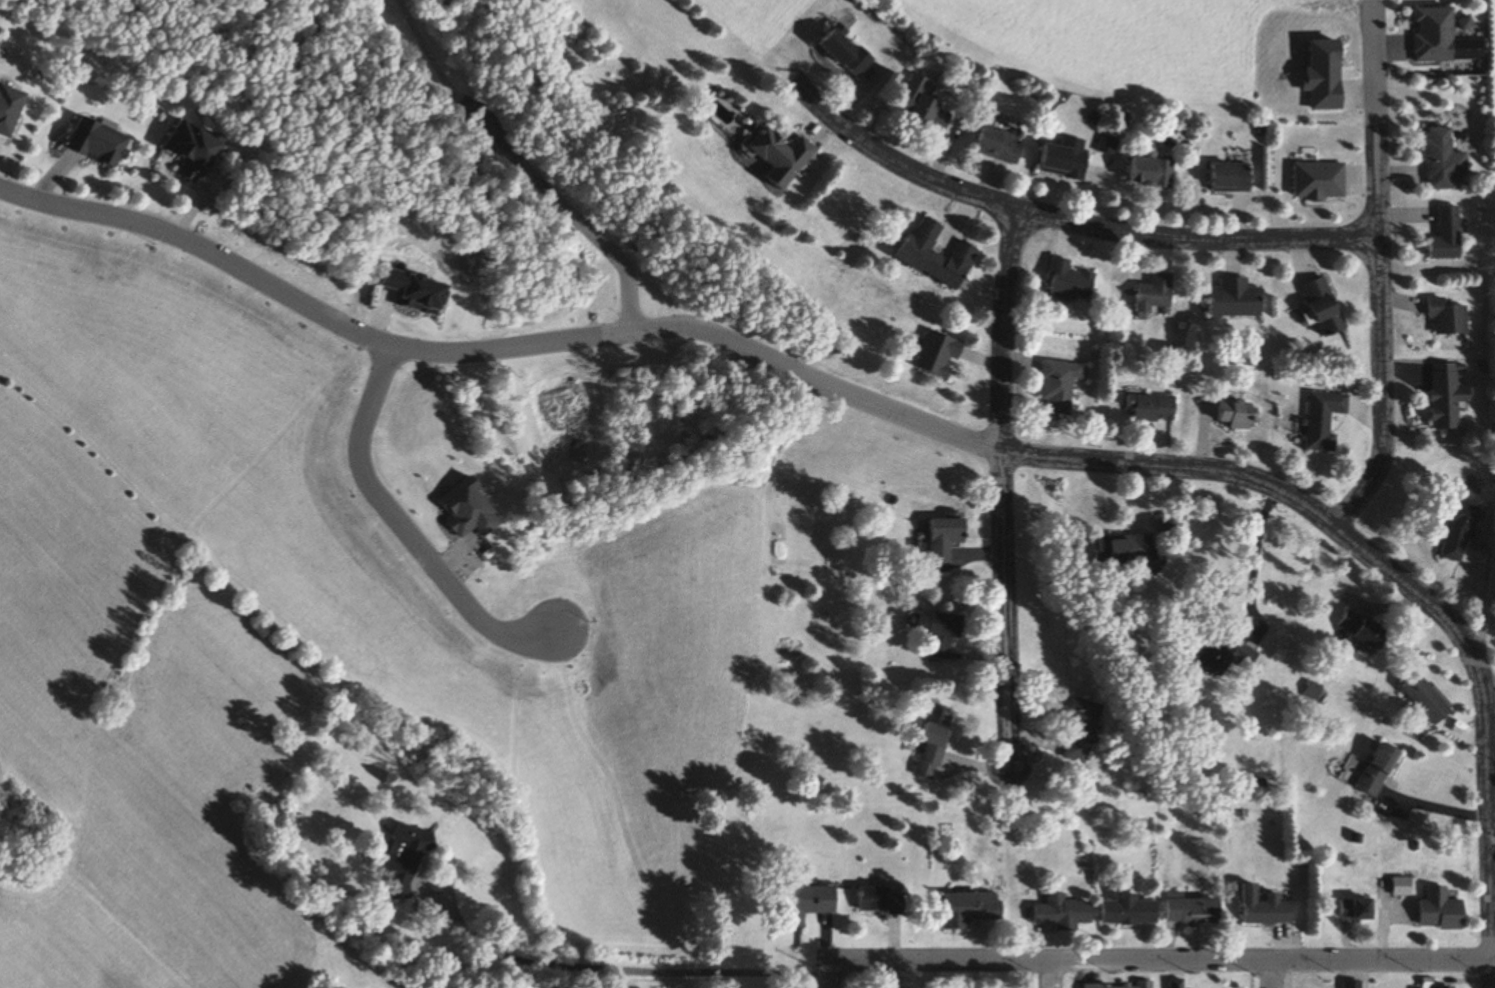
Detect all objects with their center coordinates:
building: (851, 51)
road: (439, 60)
road: (1374, 66)
building: (927, 105)
parking lot: (484, 132)
building: (104, 142)
park: (478, 142)
building: (1002, 144)
building: (198, 149)
building: (782, 156)
building: (1443, 159)
building: (1067, 162)
building: (1154, 173)
building: (1233, 177)
building: (1322, 181)
road: (574, 216)
road: (1068, 220)
building: (1449, 235)
building: (940, 256)
building: (1073, 280)
building: (1156, 294)
building: (1237, 299)
building: (1324, 300)
building: (1450, 318)
road: (1378, 333)
building: (942, 355)
road: (766, 358)
building: (1061, 387)
building: (1448, 397)
building: (1153, 408)
building: (1236, 414)
building: (1325, 420)
road: (1006, 485)
road: (405, 525)
building: (1171, 525)
building: (1460, 531)
building: (950, 538)
building: (1127, 549)
road: (1250, 561)
building: (944, 632)
building: (1228, 656)
building: (1428, 698)
building: (1084, 731)
building: (936, 747)
building: (1381, 770)
road: (1487, 830)
building: (409, 858)
building: (1396, 886)
building: (884, 900)
building: (808, 905)
building: (1265, 908)
building: (1348, 908)
building: (972, 910)
building: (1194, 910)
building: (1430, 910)
building: (1132, 911)
building: (1066, 914)
building: (1390, 917)
road: (1164, 961)
road: (567, 967)
road: (833, 974)
road: (1044, 974)
road: (1270, 974)
building: (1422, 983)
building: (1176, 984)
building: (1345, 984)
building: (1115, 986)

